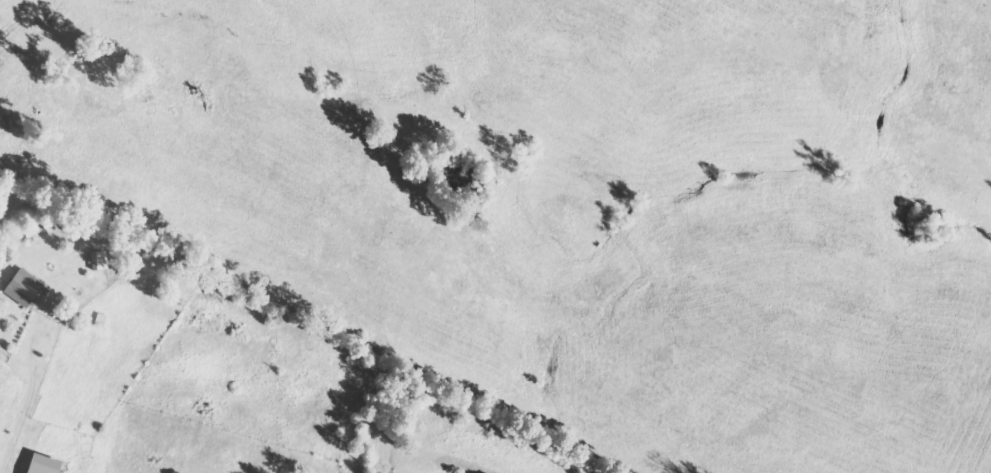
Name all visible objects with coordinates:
building: (102, 260)
building: (25, 287)
building: (45, 464)

